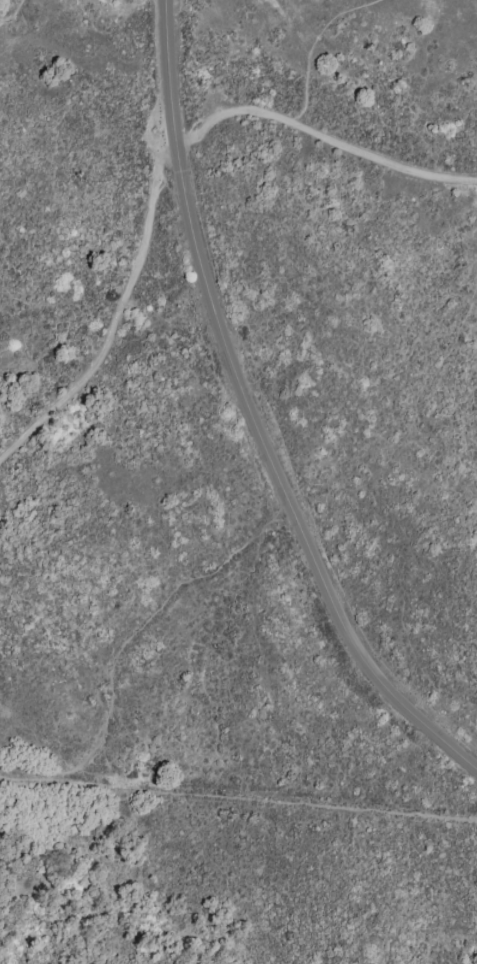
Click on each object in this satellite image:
road: (13, 13)
road: (310, 51)
road: (322, 147)
road: (144, 251)
road: (282, 482)
road: (141, 625)
road: (238, 793)

